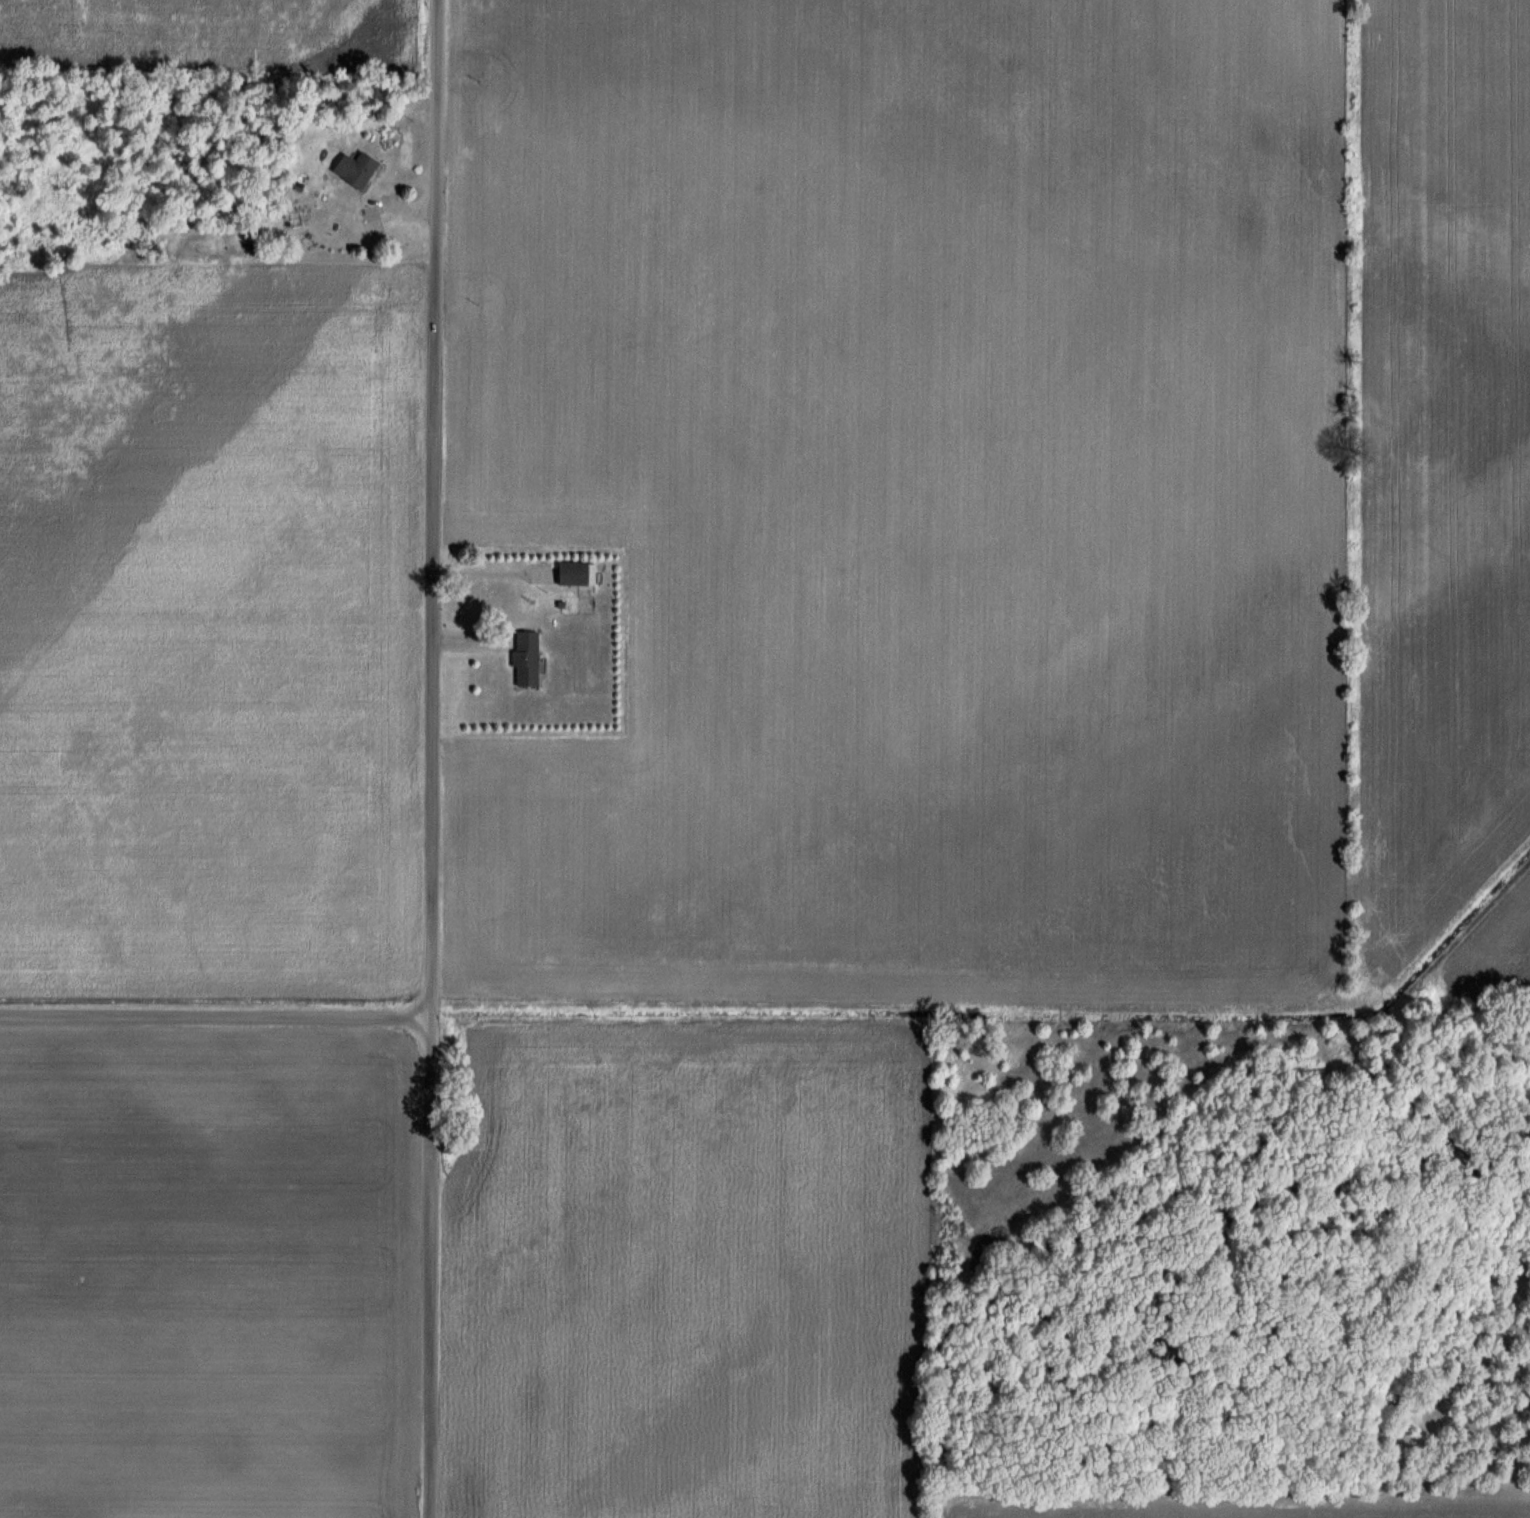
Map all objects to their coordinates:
building: (354, 168)
building: (570, 573)
building: (523, 658)
road: (431, 758)
road: (215, 1015)

